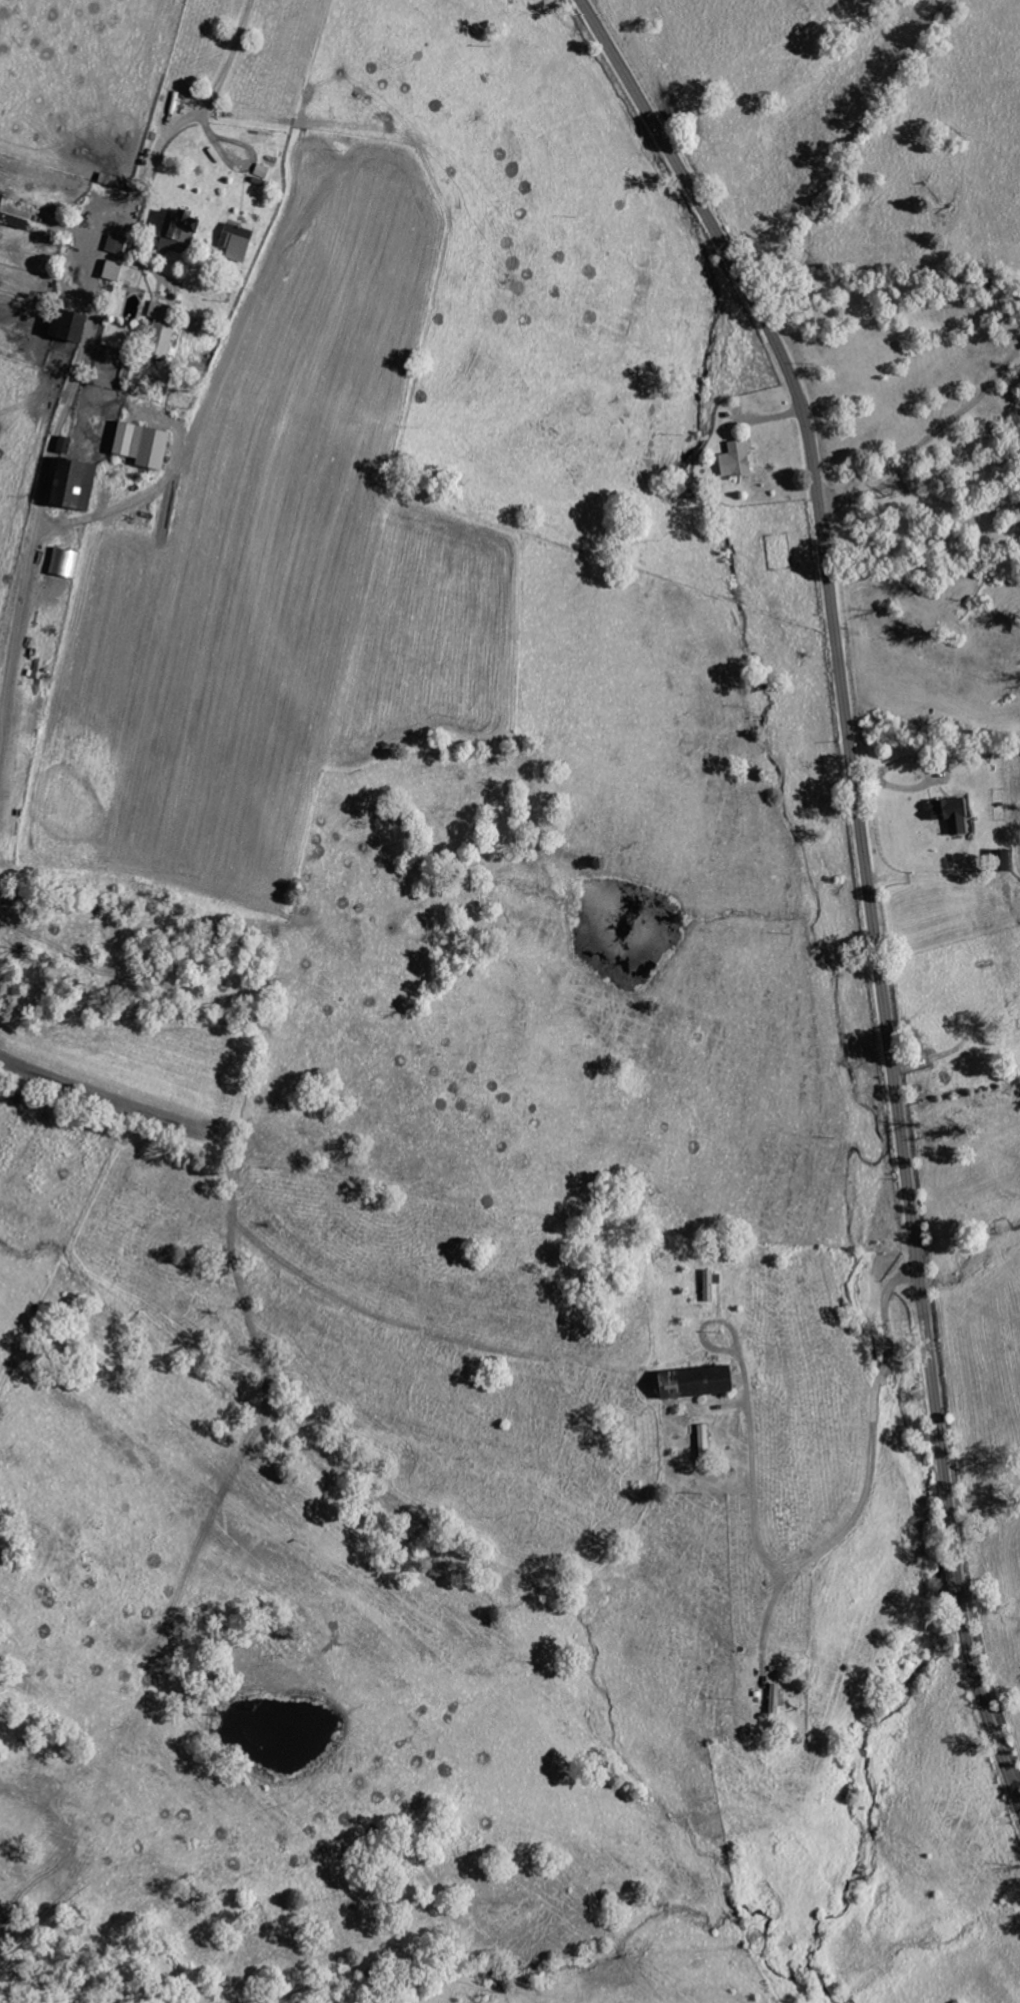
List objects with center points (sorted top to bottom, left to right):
road: (195, 115)
road: (237, 164)
building: (264, 172)
building: (13, 216)
building: (185, 231)
building: (123, 247)
building: (117, 272)
building: (77, 327)
building: (167, 330)
road: (928, 441)
building: (69, 446)
building: (149, 446)
building: (733, 461)
building: (81, 486)
building: (948, 813)
road: (866, 880)
road: (962, 1041)
building: (700, 1437)
road: (845, 1516)

